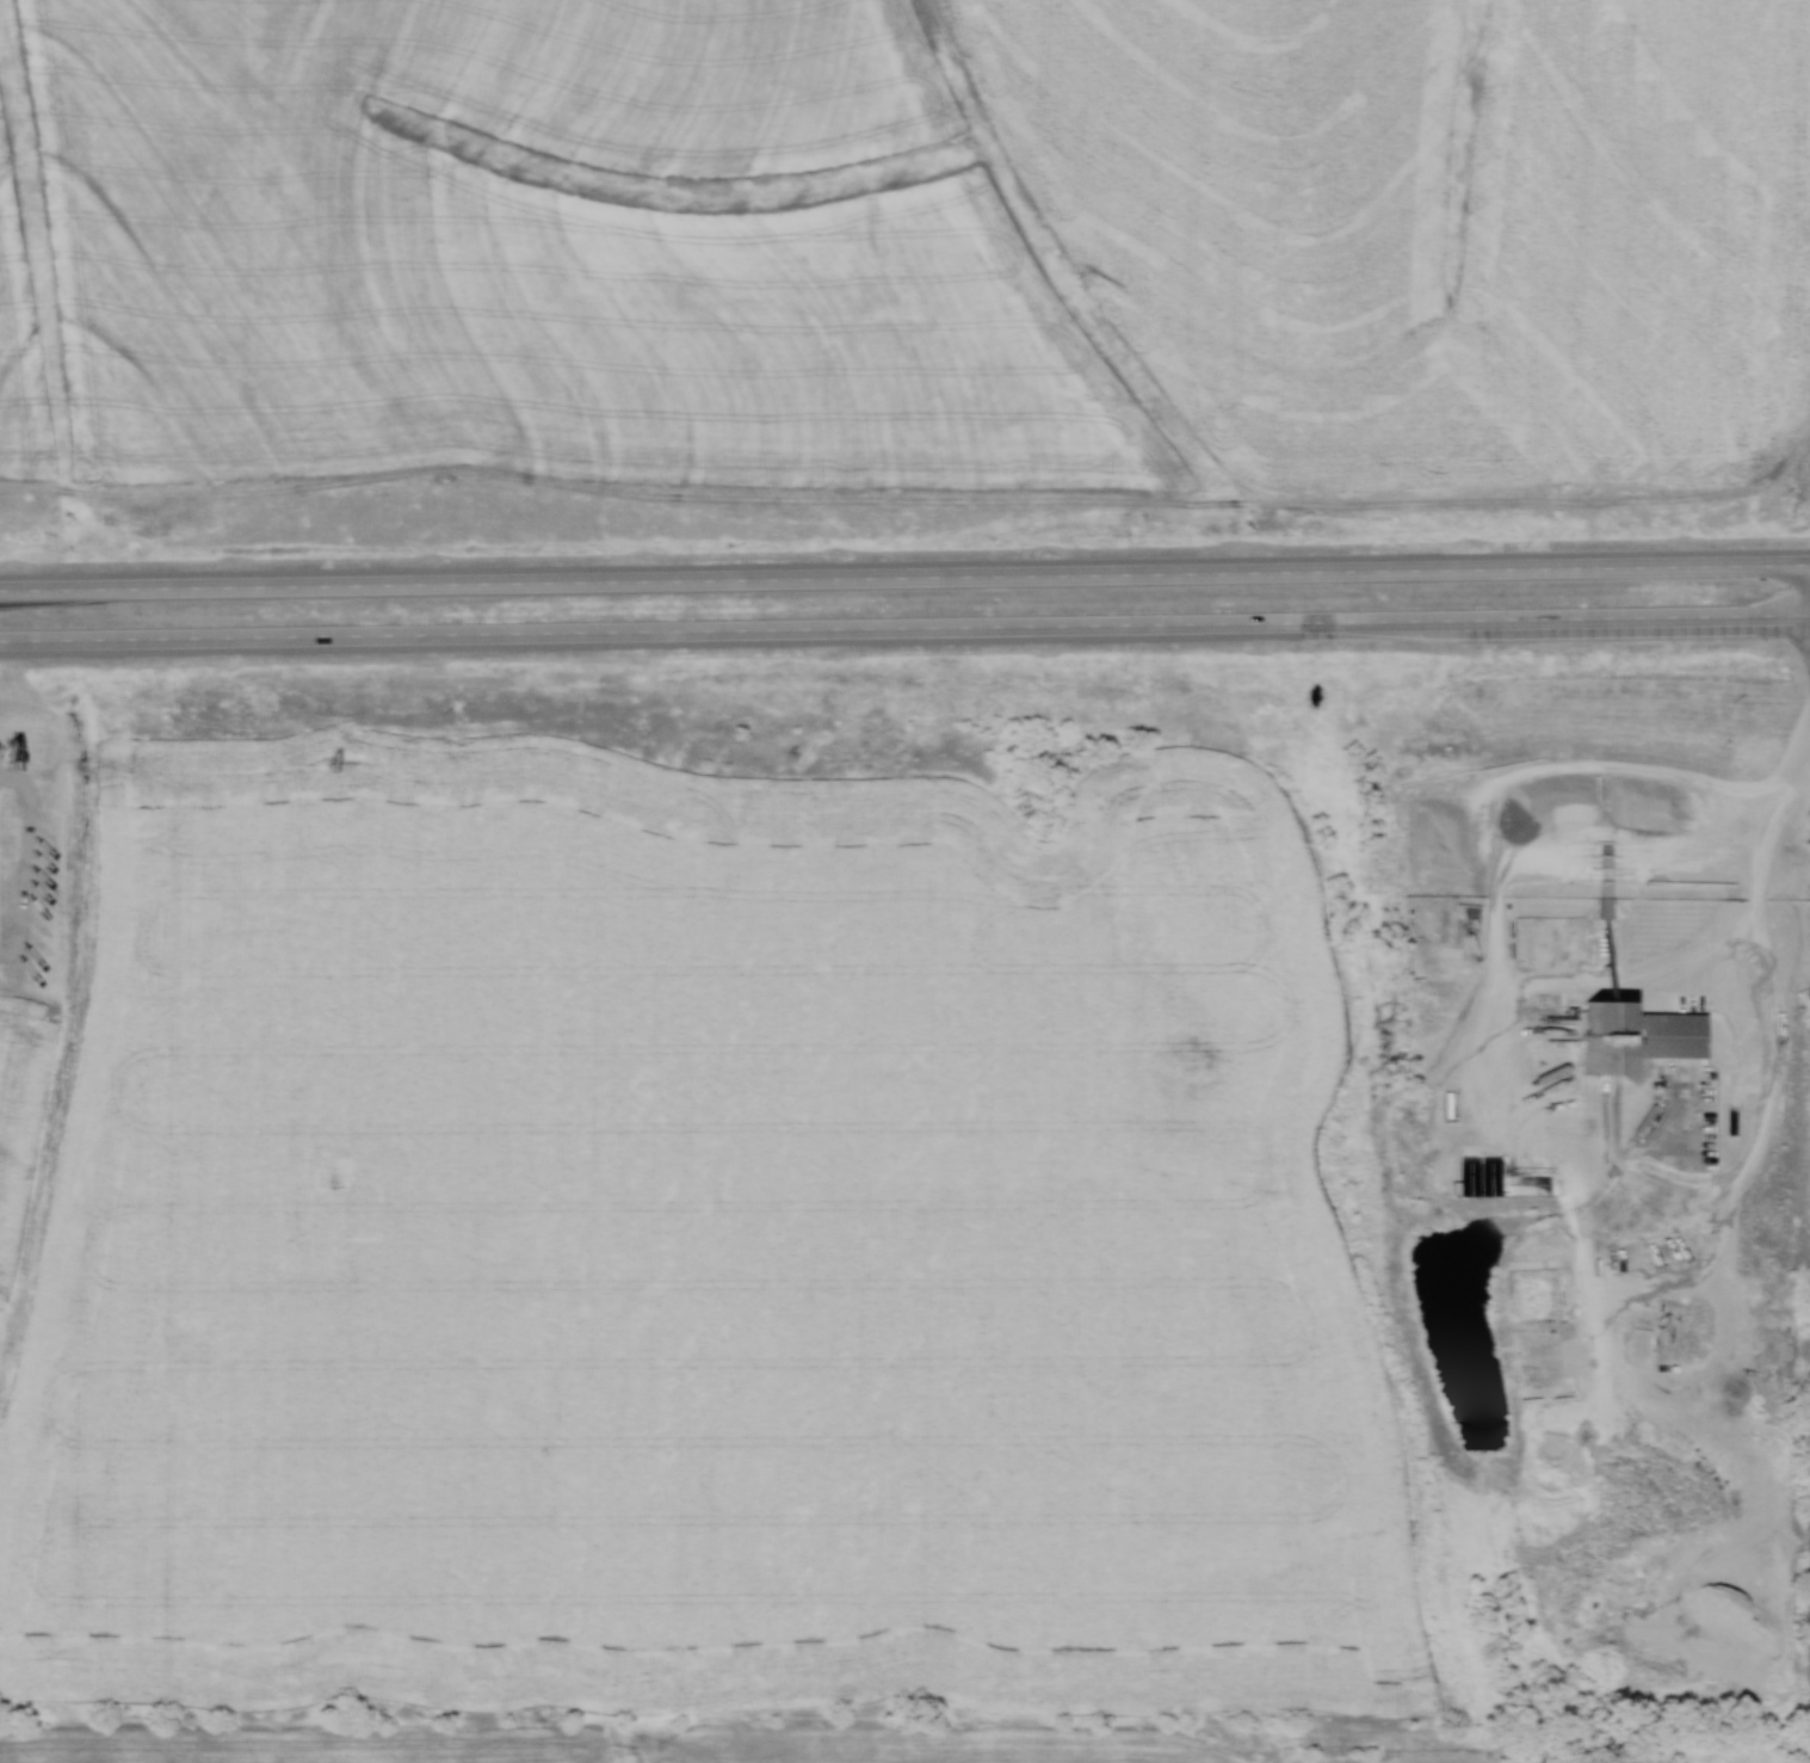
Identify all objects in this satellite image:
road: (904, 573)
road: (904, 639)
road: (1507, 871)
road: (1633, 982)
building: (1625, 1032)
road: (1773, 1064)
road: (1645, 1212)

